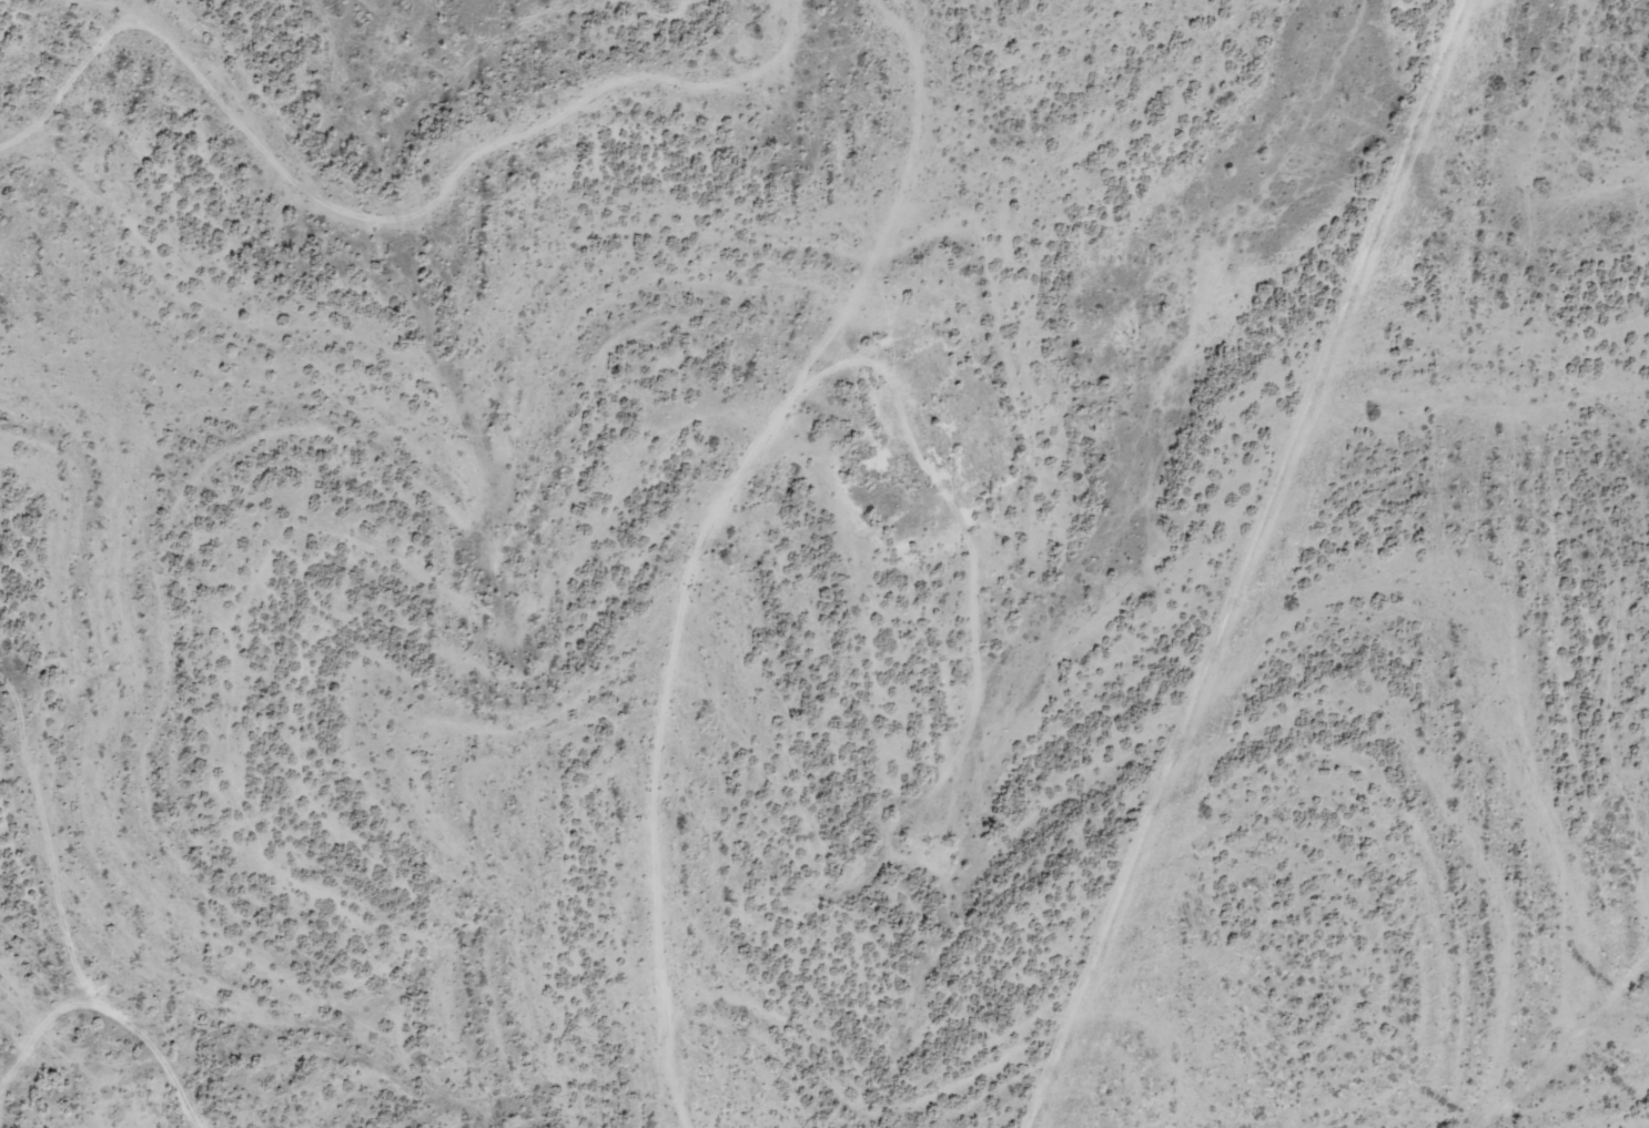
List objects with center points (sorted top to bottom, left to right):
road: (111, 1041)

